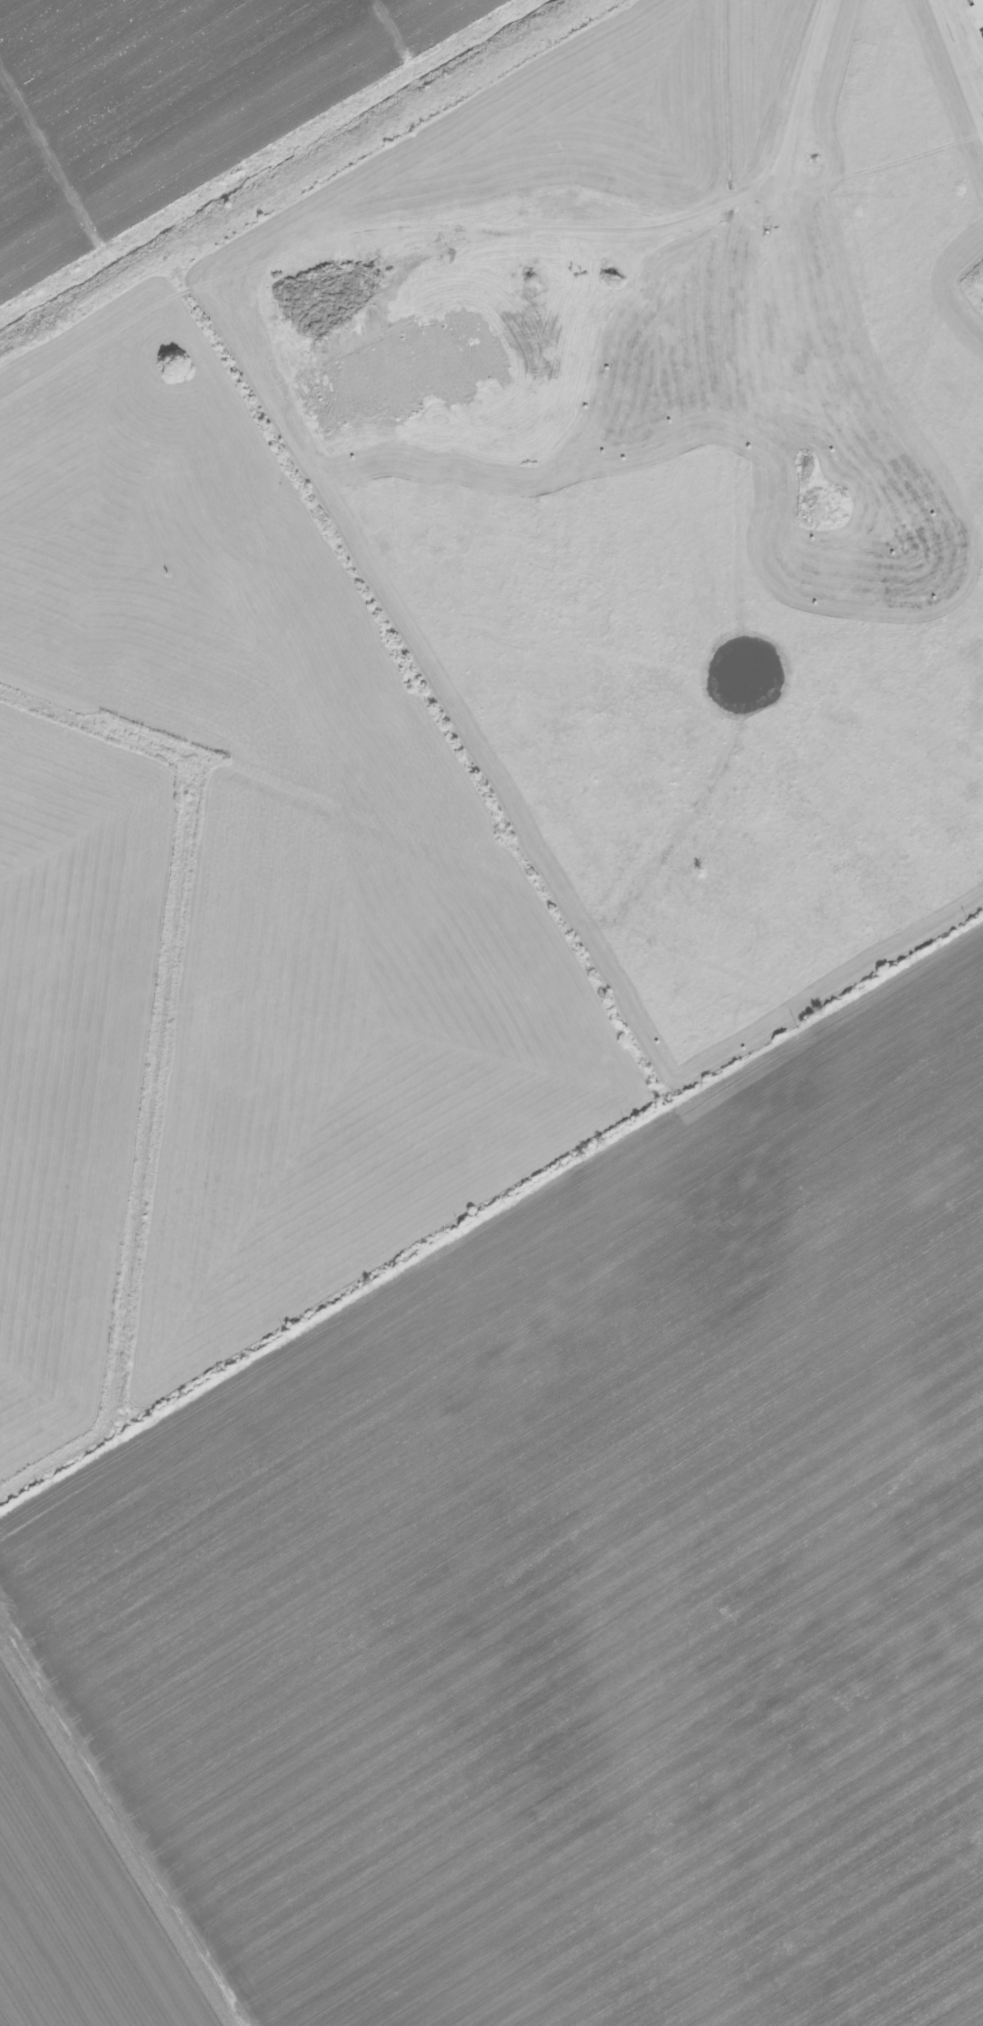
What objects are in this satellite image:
road: (782, 161)

